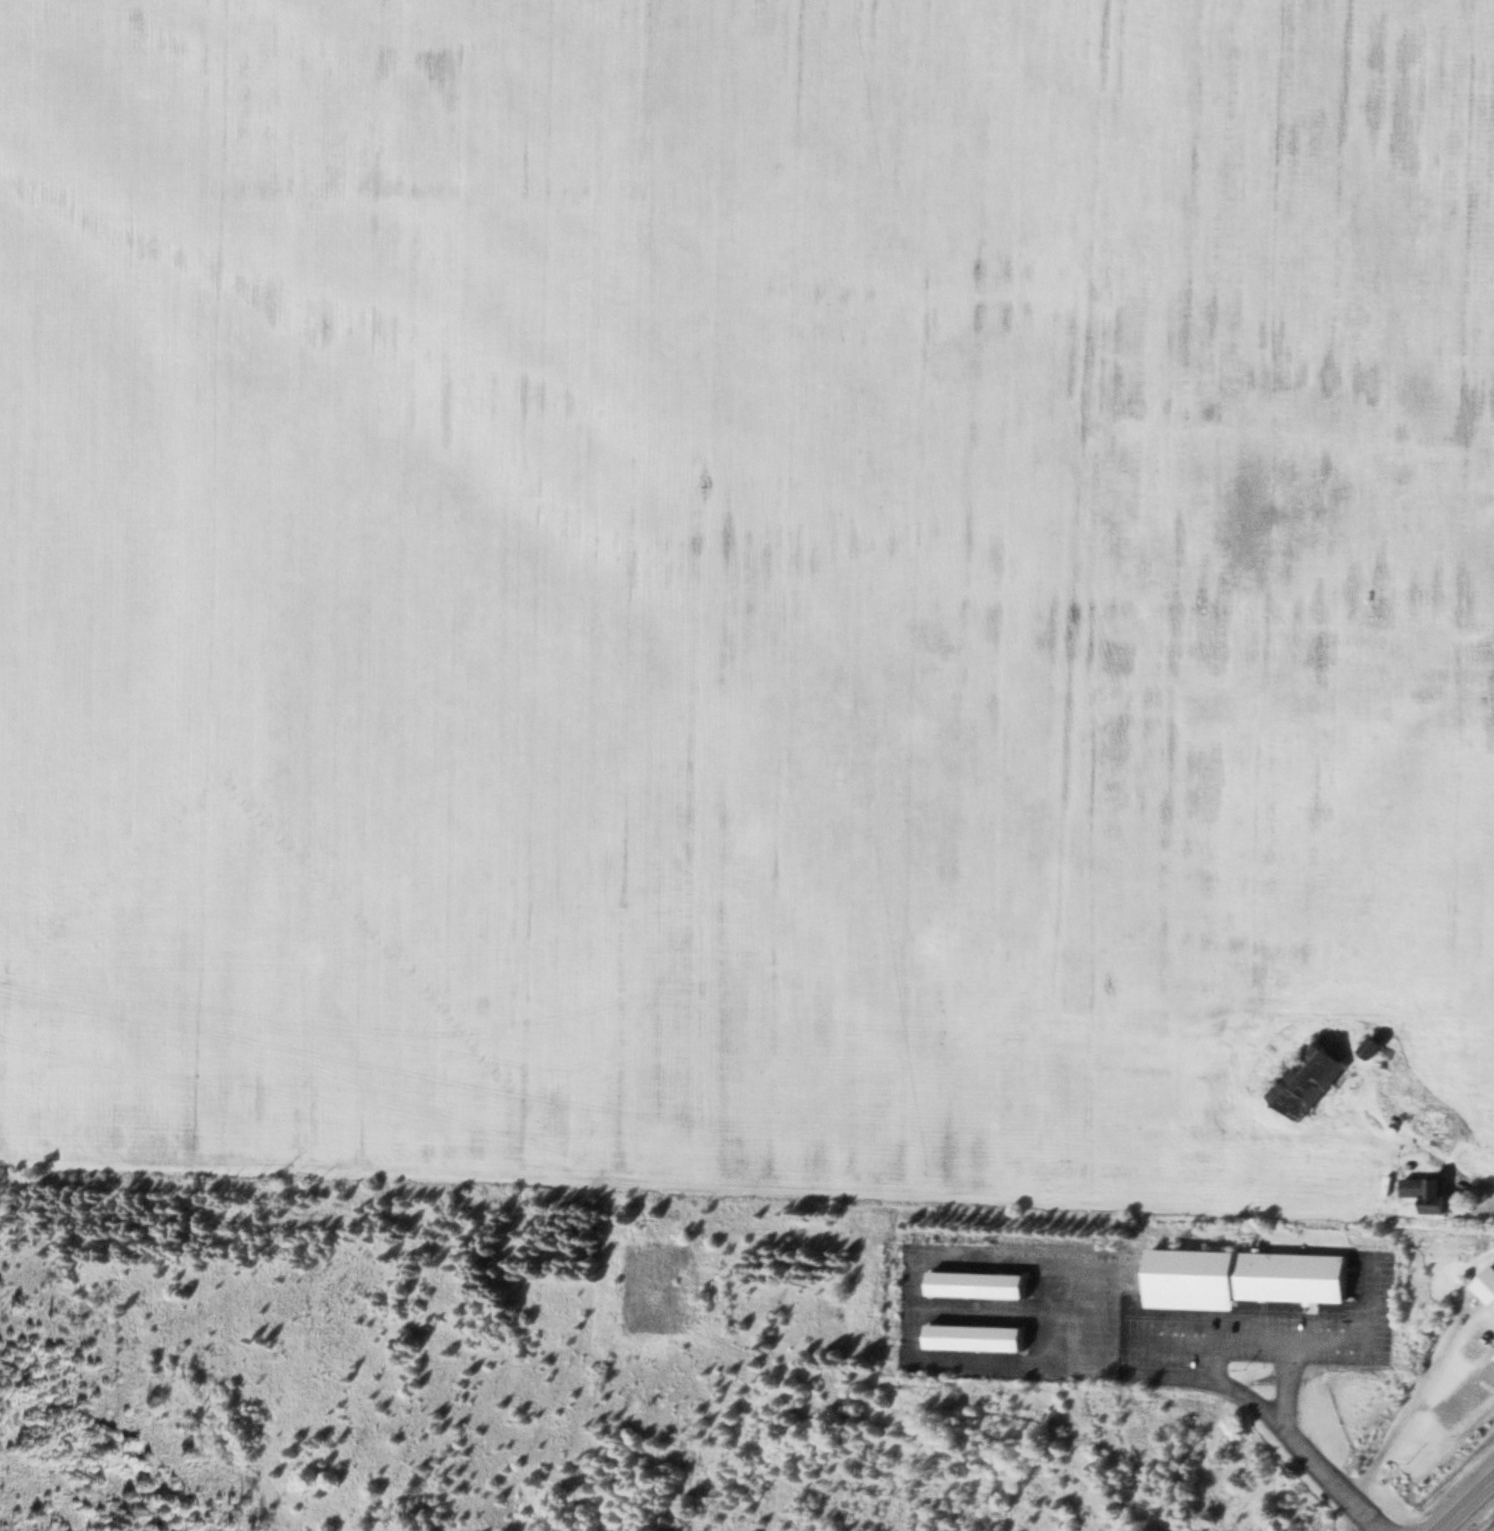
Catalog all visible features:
building: (1377, 1052)
building: (1310, 1081)
building: (1439, 1120)
building: (1415, 1186)
road: (1487, 1188)
building: (1441, 1198)
building: (1057, 1249)
building: (1246, 1277)
building: (980, 1283)
building: (1487, 1285)
building: (978, 1335)
road: (1472, 1509)

